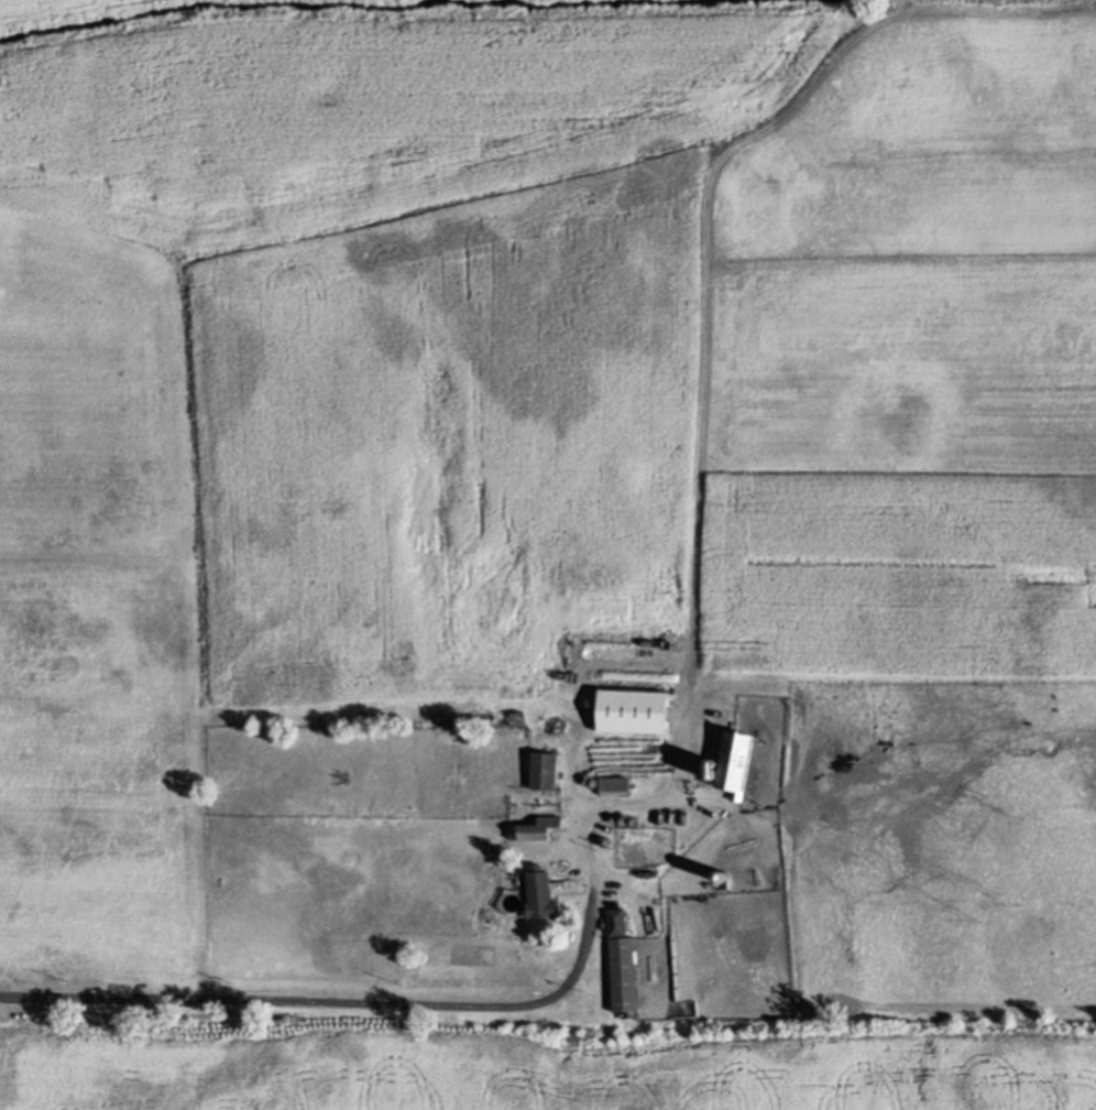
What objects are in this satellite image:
building: (633, 710)
building: (736, 760)
building: (545, 769)
building: (615, 784)
building: (536, 827)
building: (540, 892)
building: (617, 919)
building: (625, 973)
road: (361, 1003)

